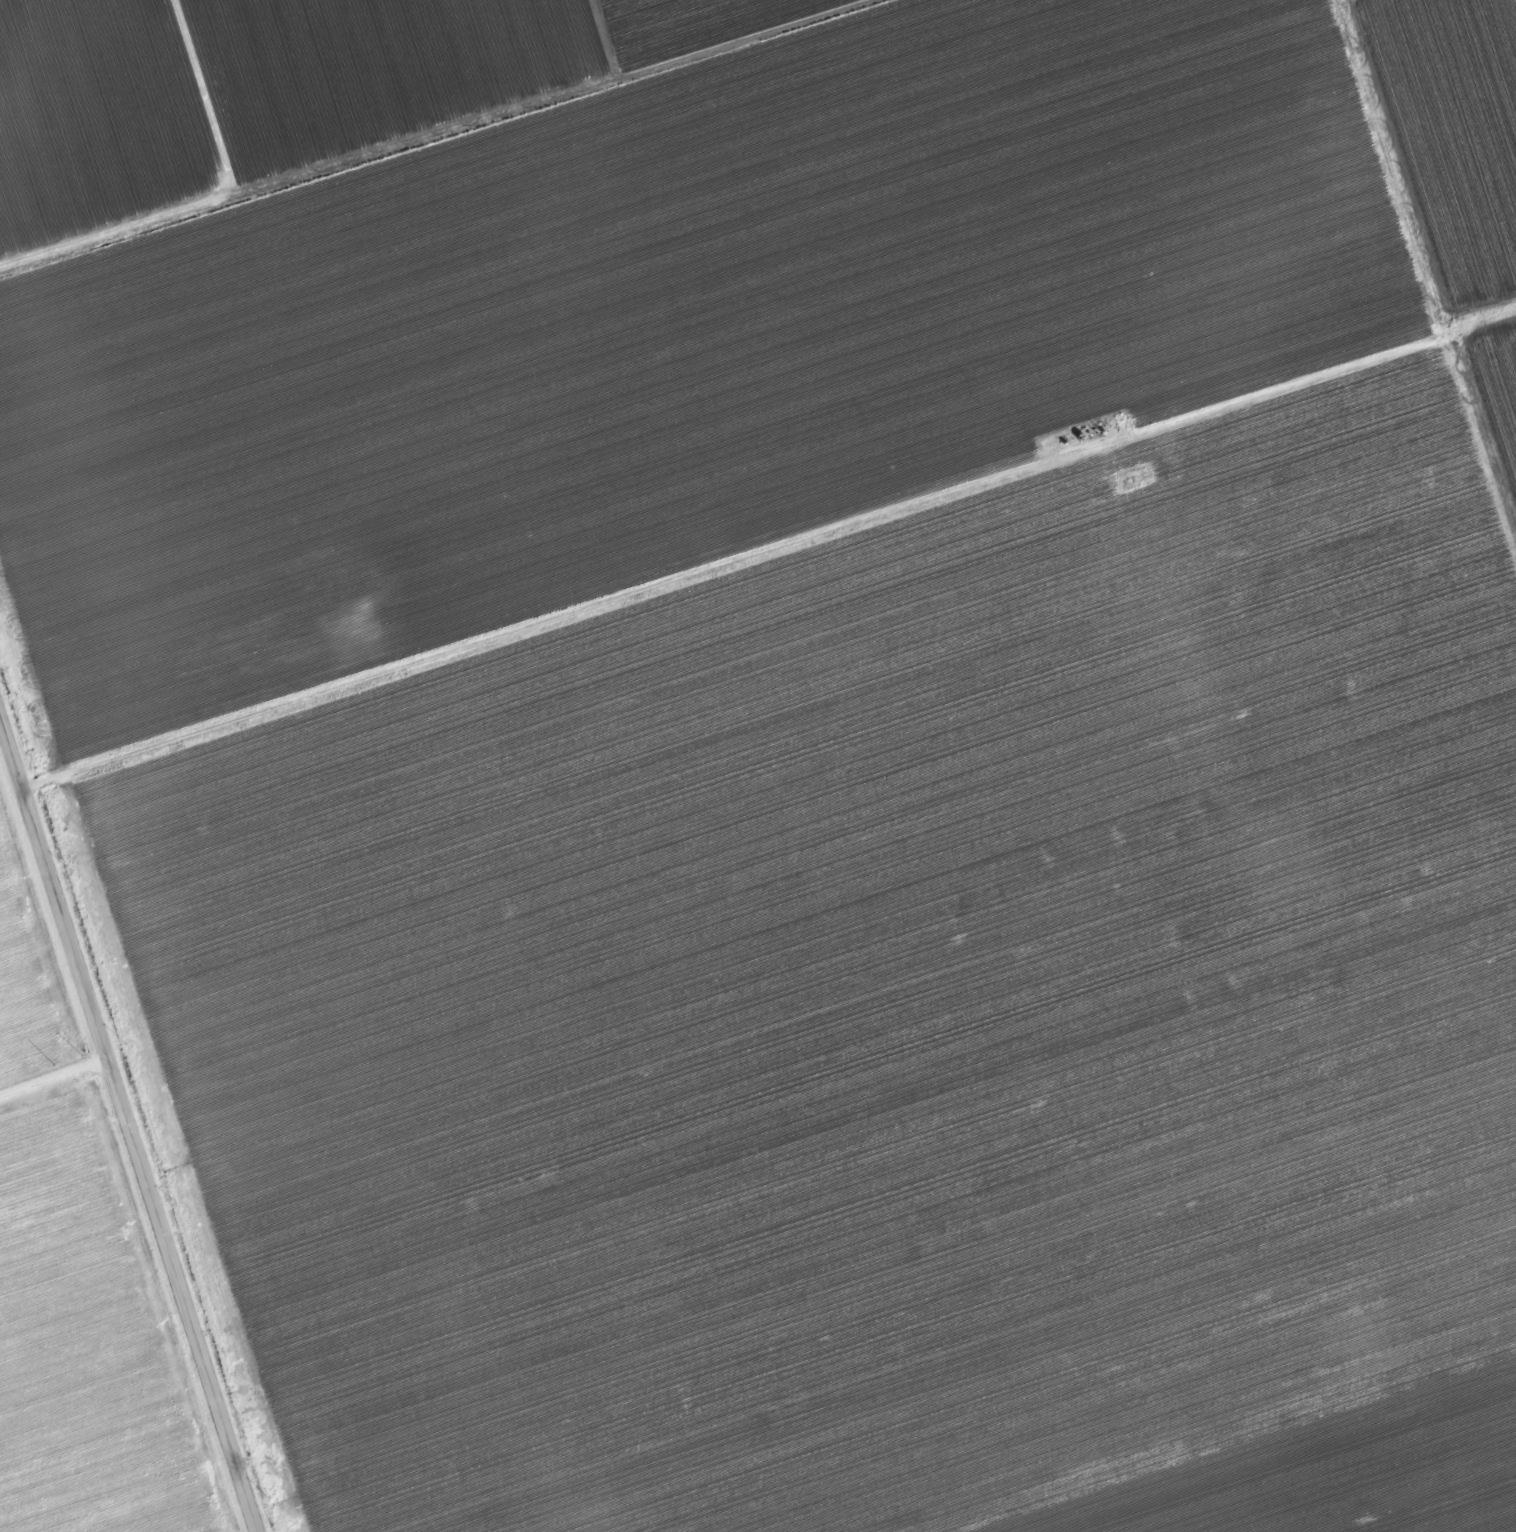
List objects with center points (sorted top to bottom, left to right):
road: (767, 552)
road: (50, 1074)
road: (125, 1133)

